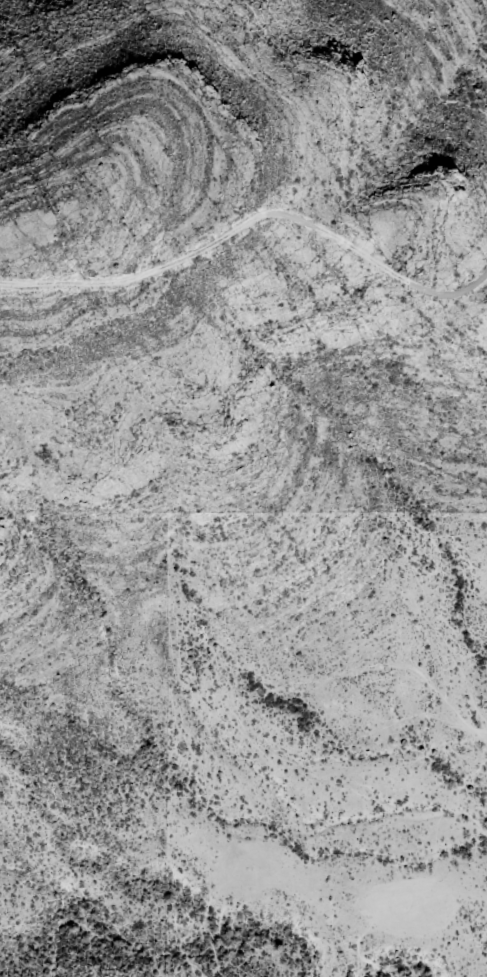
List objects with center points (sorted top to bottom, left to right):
road: (252, 220)

